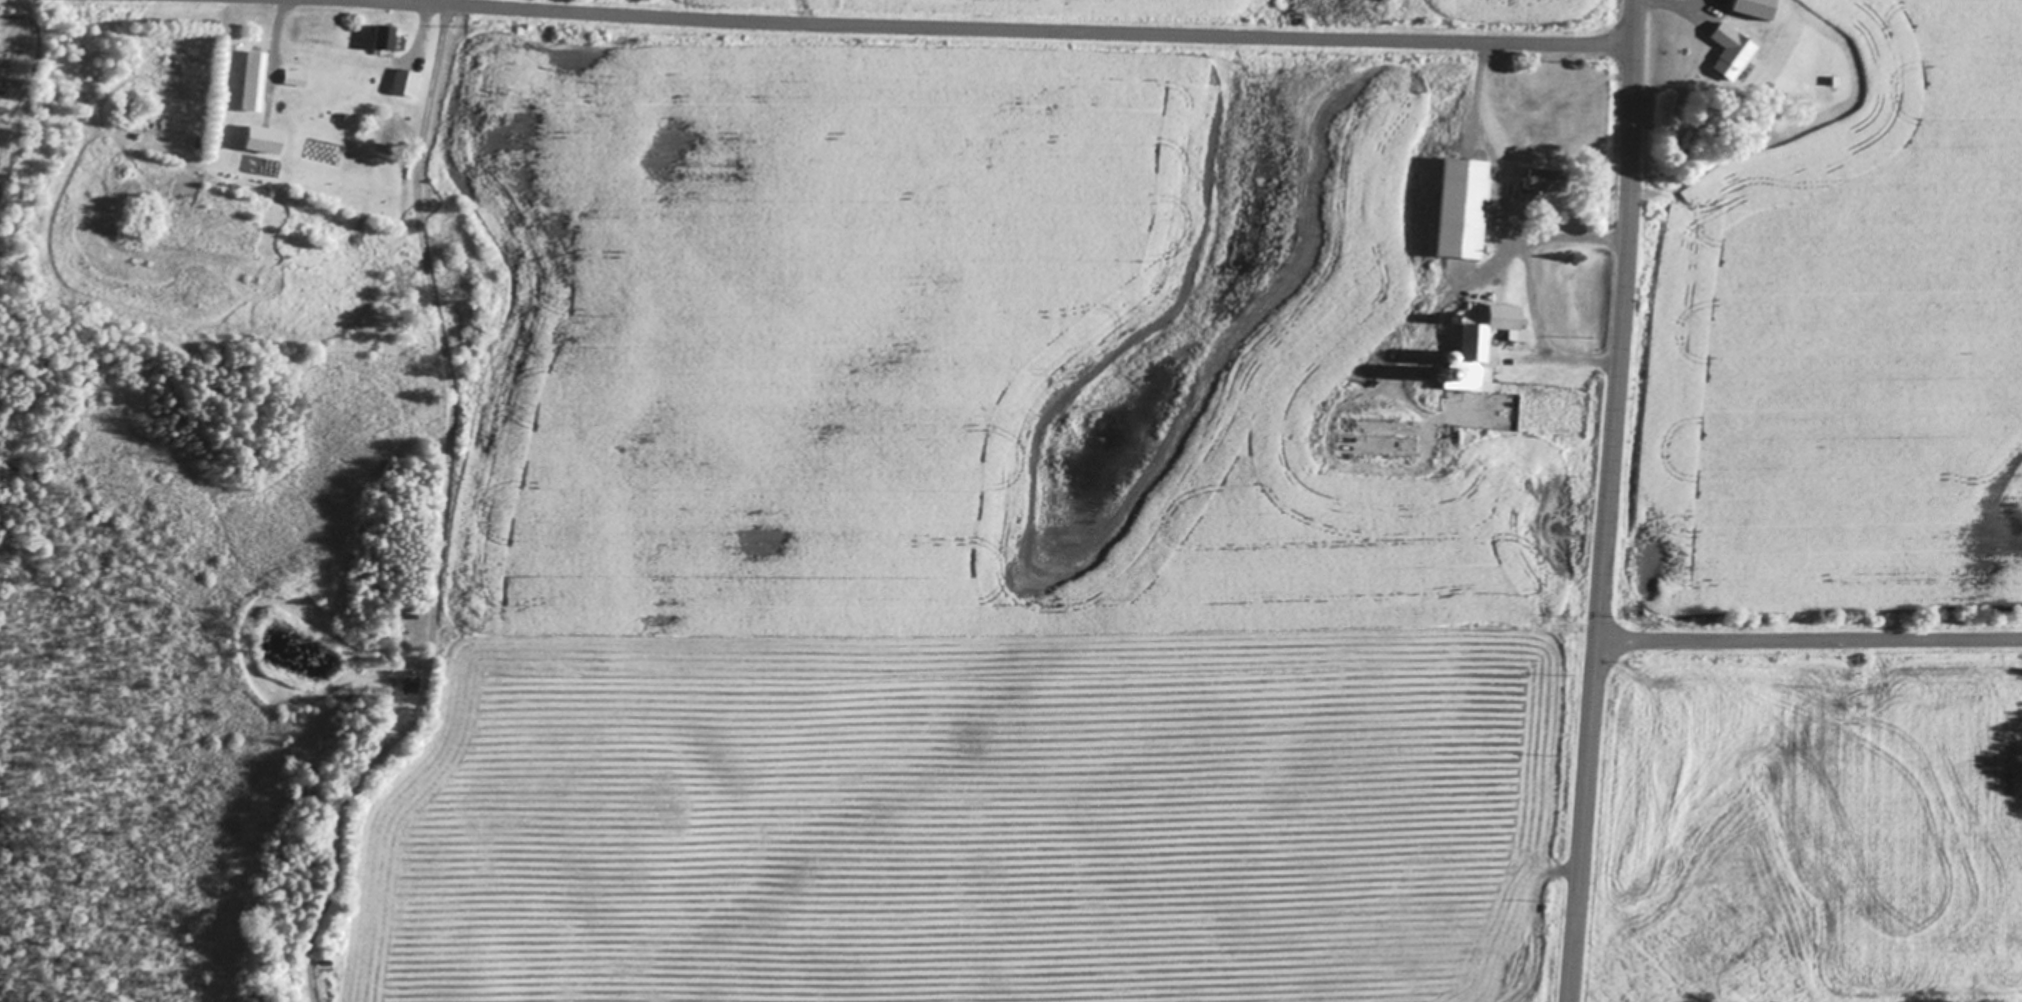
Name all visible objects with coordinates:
building: (1756, 8)
road: (994, 28)
building: (384, 38)
building: (1731, 52)
building: (294, 78)
building: (253, 82)
building: (405, 83)
building: (264, 141)
road: (1485, 148)
building: (1544, 181)
building: (1462, 209)
road: (1531, 287)
building: (1479, 347)
road: (1607, 501)
road: (1809, 637)

